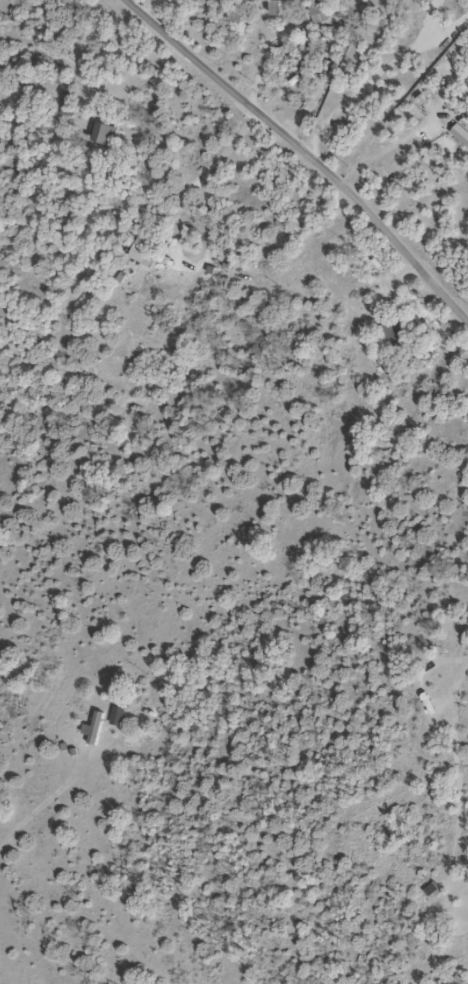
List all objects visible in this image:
building: (271, 10)
building: (316, 14)
road: (456, 17)
road: (461, 29)
road: (368, 83)
building: (67, 105)
building: (101, 135)
road: (299, 154)
building: (393, 334)
building: (92, 728)
building: (431, 890)

